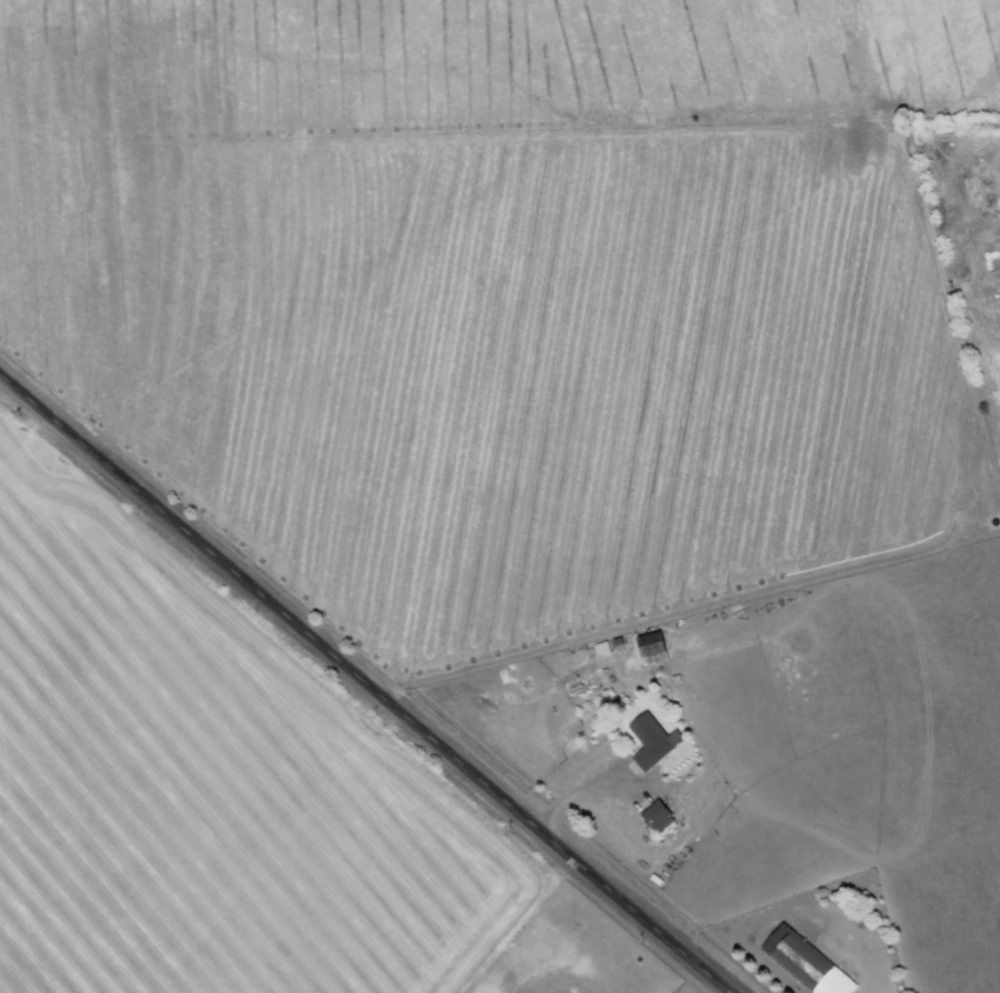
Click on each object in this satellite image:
road: (970, 269)
road: (361, 688)
building: (649, 739)
building: (654, 816)
building: (802, 962)

